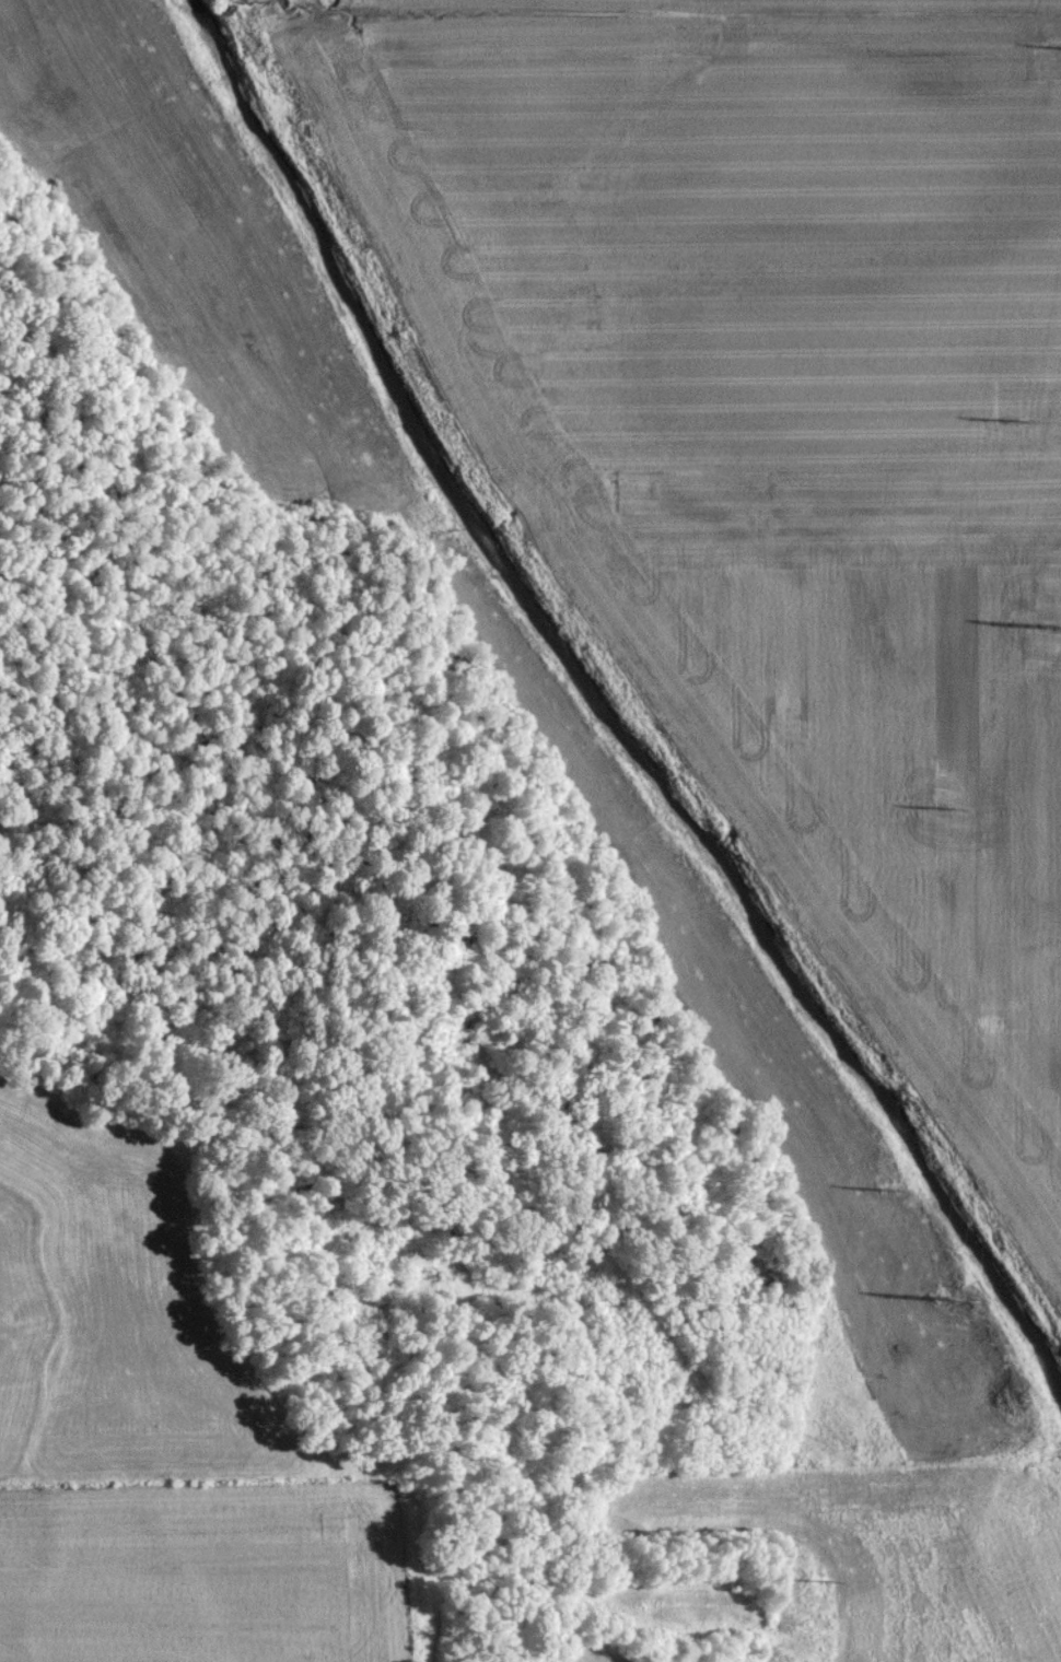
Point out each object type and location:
power tower: (1047, 635)
power tower: (938, 1306)

